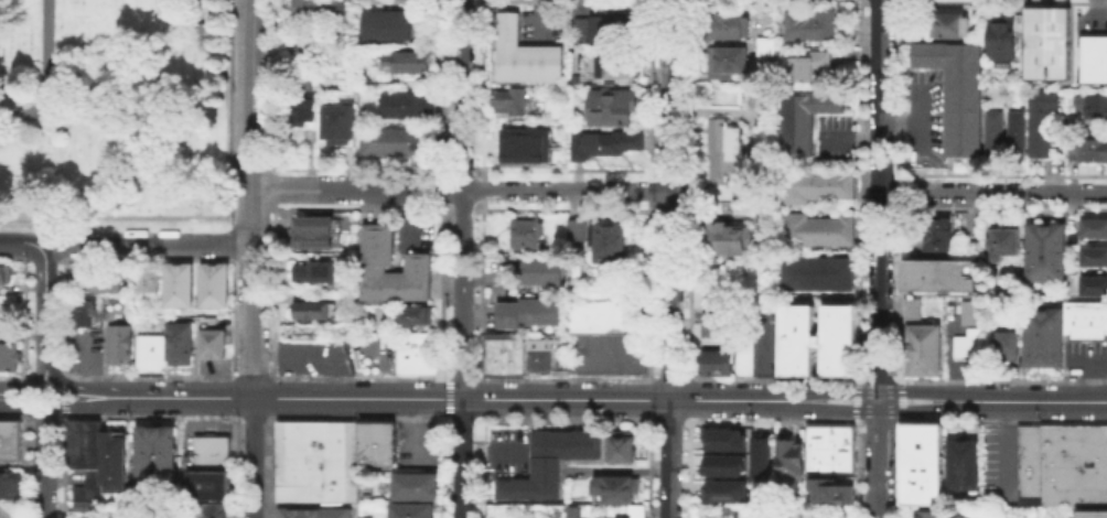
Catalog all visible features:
building: (320, 12)
building: (390, 26)
building: (813, 26)
building: (731, 28)
building: (950, 28)
building: (609, 30)
building: (1002, 40)
building: (1050, 46)
building: (309, 47)
building: (771, 48)
park: (14, 51)
building: (529, 56)
building: (1095, 62)
building: (407, 63)
building: (730, 64)
building: (813, 65)
building: (620, 67)
building: (319, 71)
road: (44, 74)
building: (299, 79)
road: (271, 86)
road: (445, 88)
road: (649, 89)
road: (484, 90)
road: (899, 90)
building: (959, 95)
building: (514, 101)
park: (116, 108)
building: (412, 108)
building: (1097, 108)
building: (613, 109)
road: (229, 112)
building: (303, 112)
building: (812, 119)
building: (336, 120)
building: (1043, 121)
building: (996, 132)
building: (1018, 132)
building: (509, 141)
building: (401, 143)
building: (609, 145)
building: (726, 153)
building: (1089, 153)
building: (560, 158)
road: (283, 186)
building: (817, 186)
road: (271, 187)
road: (493, 188)
road: (445, 190)
road: (689, 190)
road: (649, 191)
road: (857, 191)
road: (899, 191)
road: (993, 191)
road: (484, 192)
road: (252, 198)
building: (766, 224)
building: (817, 227)
building: (1096, 230)
building: (578, 233)
building: (321, 235)
building: (529, 236)
building: (936, 236)
road: (21, 240)
road: (147, 241)
road: (230, 241)
building: (730, 241)
building: (613, 242)
building: (1007, 245)
building: (1047, 255)
road: (26, 258)
road: (43, 258)
road: (462, 258)
building: (1095, 258)
road: (58, 259)
road: (670, 259)
road: (879, 259)
building: (379, 265)
building: (536, 270)
building: (816, 272)
building: (6, 276)
building: (318, 276)
building: (941, 278)
building: (104, 280)
building: (151, 282)
building: (180, 283)
building: (213, 283)
building: (1096, 288)
road: (270, 289)
road: (482, 290)
road: (648, 291)
road: (898, 291)
road: (444, 293)
road: (45, 302)
building: (968, 310)
building: (519, 312)
building: (603, 312)
building: (312, 313)
building: (85, 314)
road: (232, 317)
road: (58, 319)
building: (418, 319)
road: (23, 320)
building: (1084, 320)
building: (717, 326)
parking lot: (743, 336)
building: (1043, 336)
building: (815, 339)
building: (117, 343)
building: (211, 343)
building: (1007, 344)
building: (923, 345)
building: (966, 345)
building: (183, 346)
parking lot: (82, 349)
building: (152, 352)
parking lot: (1084, 352)
building: (547, 354)
parking lot: (311, 356)
building: (420, 356)
building: (507, 356)
building: (9, 359)
building: (718, 364)
road: (150, 375)
road: (251, 375)
road: (11, 376)
road: (667, 376)
road: (361, 377)
road: (463, 377)
road: (563, 377)
road: (774, 380)
road: (882, 380)
road: (1001, 380)
road: (29, 381)
road: (79, 387)
road: (63, 393)
road: (25, 396)
road: (233, 396)
road: (268, 396)
road: (481, 396)
road: (189, 397)
road: (688, 397)
road: (648, 398)
road: (444, 399)
road: (461, 399)
road: (855, 399)
road: (898, 399)
road: (888, 402)
road: (85, 406)
road: (21, 407)
road: (14, 416)
road: (43, 417)
road: (149, 417)
road: (254, 418)
road: (462, 419)
road: (563, 419)
road: (669, 419)
road: (359, 421)
road: (881, 422)
road: (1002, 423)
road: (774, 424)
building: (723, 439)
building: (10, 440)
building: (86, 445)
building: (828, 446)
building: (624, 449)
parking lot: (510, 451)
building: (214, 452)
road: (251, 457)
building: (760, 457)
building: (330, 461)
building: (547, 462)
building: (788, 462)
road: (44, 463)
building: (158, 463)
building: (722, 463)
building: (116, 464)
road: (480, 464)
road: (23, 465)
road: (62, 465)
road: (269, 465)
road: (234, 466)
road: (647, 466)
road: (688, 466)
road: (856, 466)
building: (923, 466)
building: (964, 466)
building: (1064, 466)
road: (442, 467)
road: (898, 467)
building: (11, 486)
building: (209, 487)
building: (417, 489)
building: (828, 489)
building: (616, 490)
building: (723, 490)
building: (88, 492)
building: (212, 512)
building: (413, 512)
building: (577, 512)
building: (314, 514)
building: (1092, 514)
building: (931, 515)
building: (717, 516)

